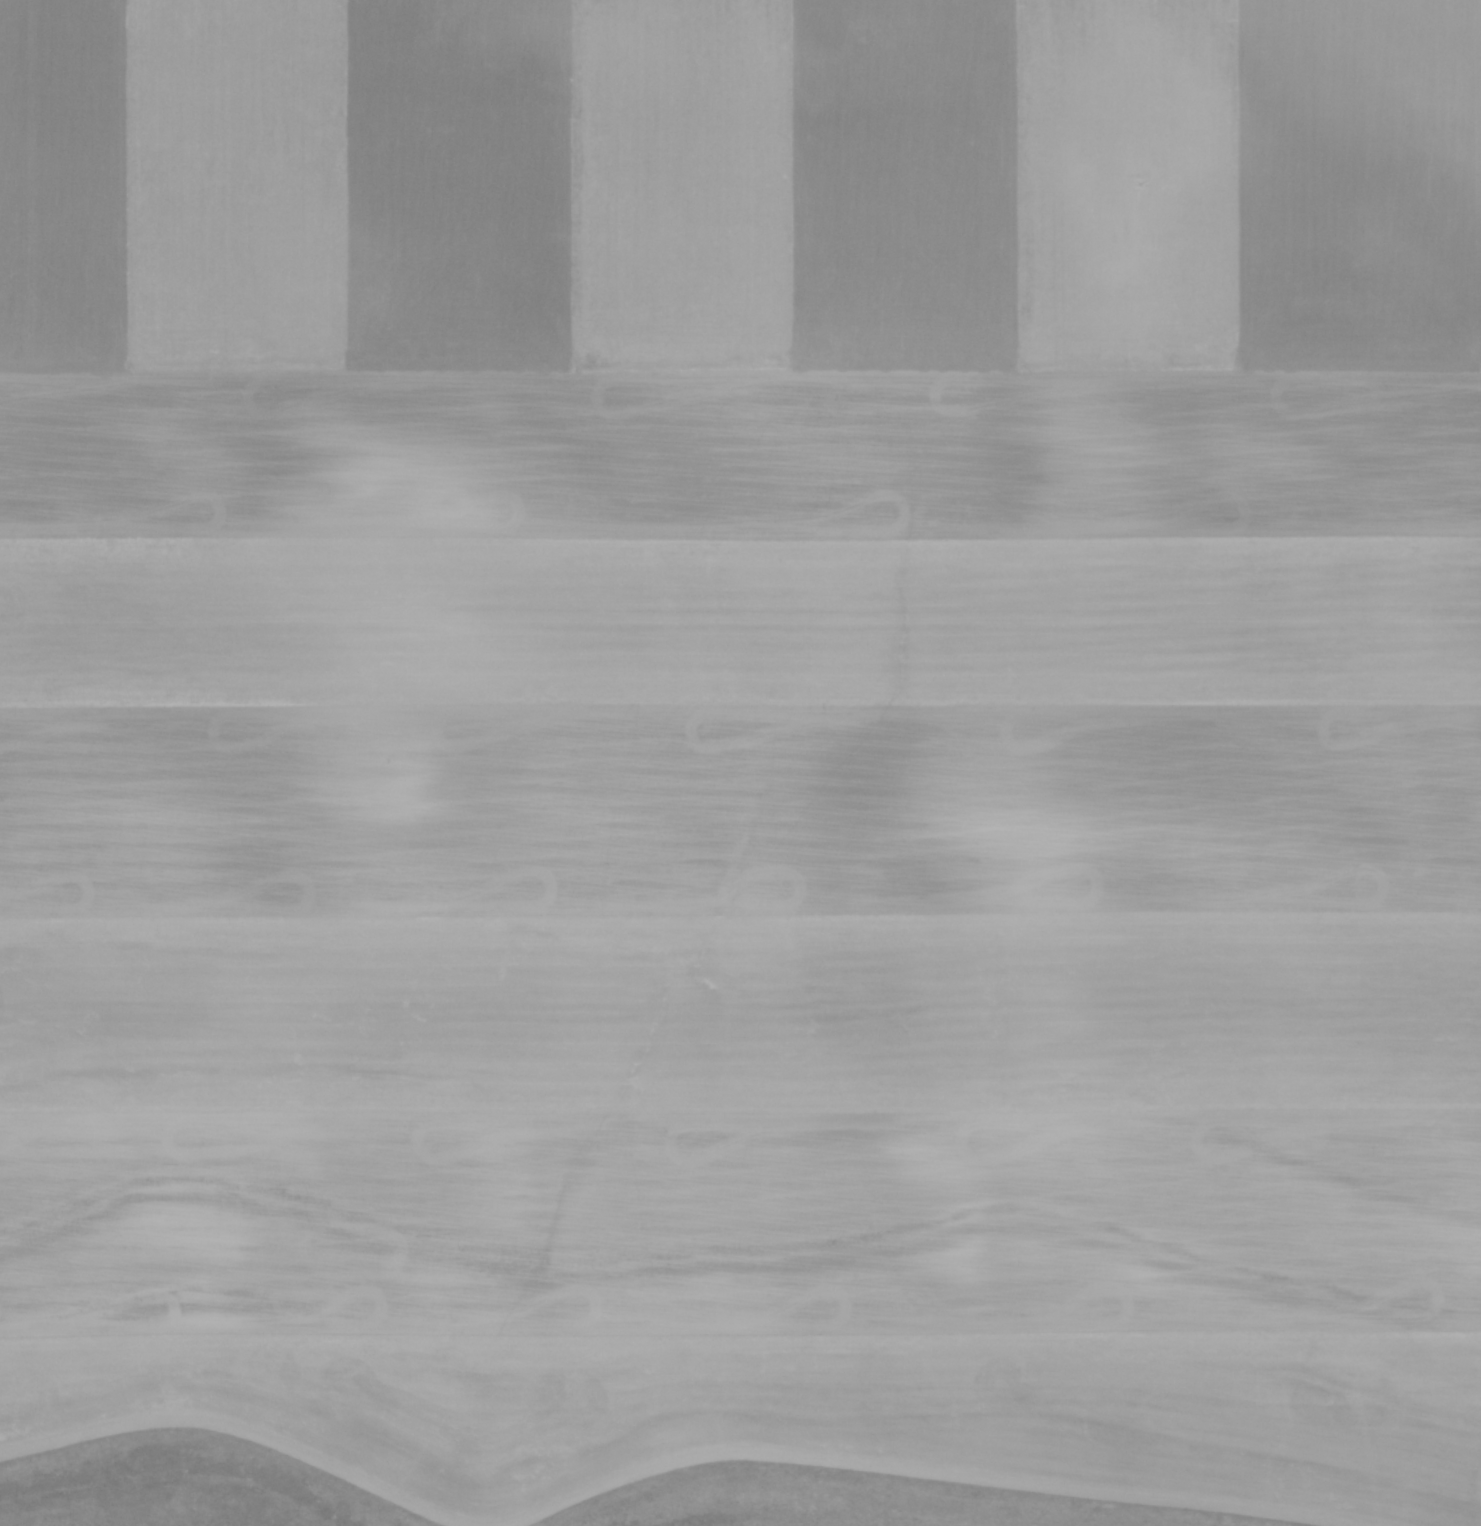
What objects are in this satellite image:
crop: (746, 742)

